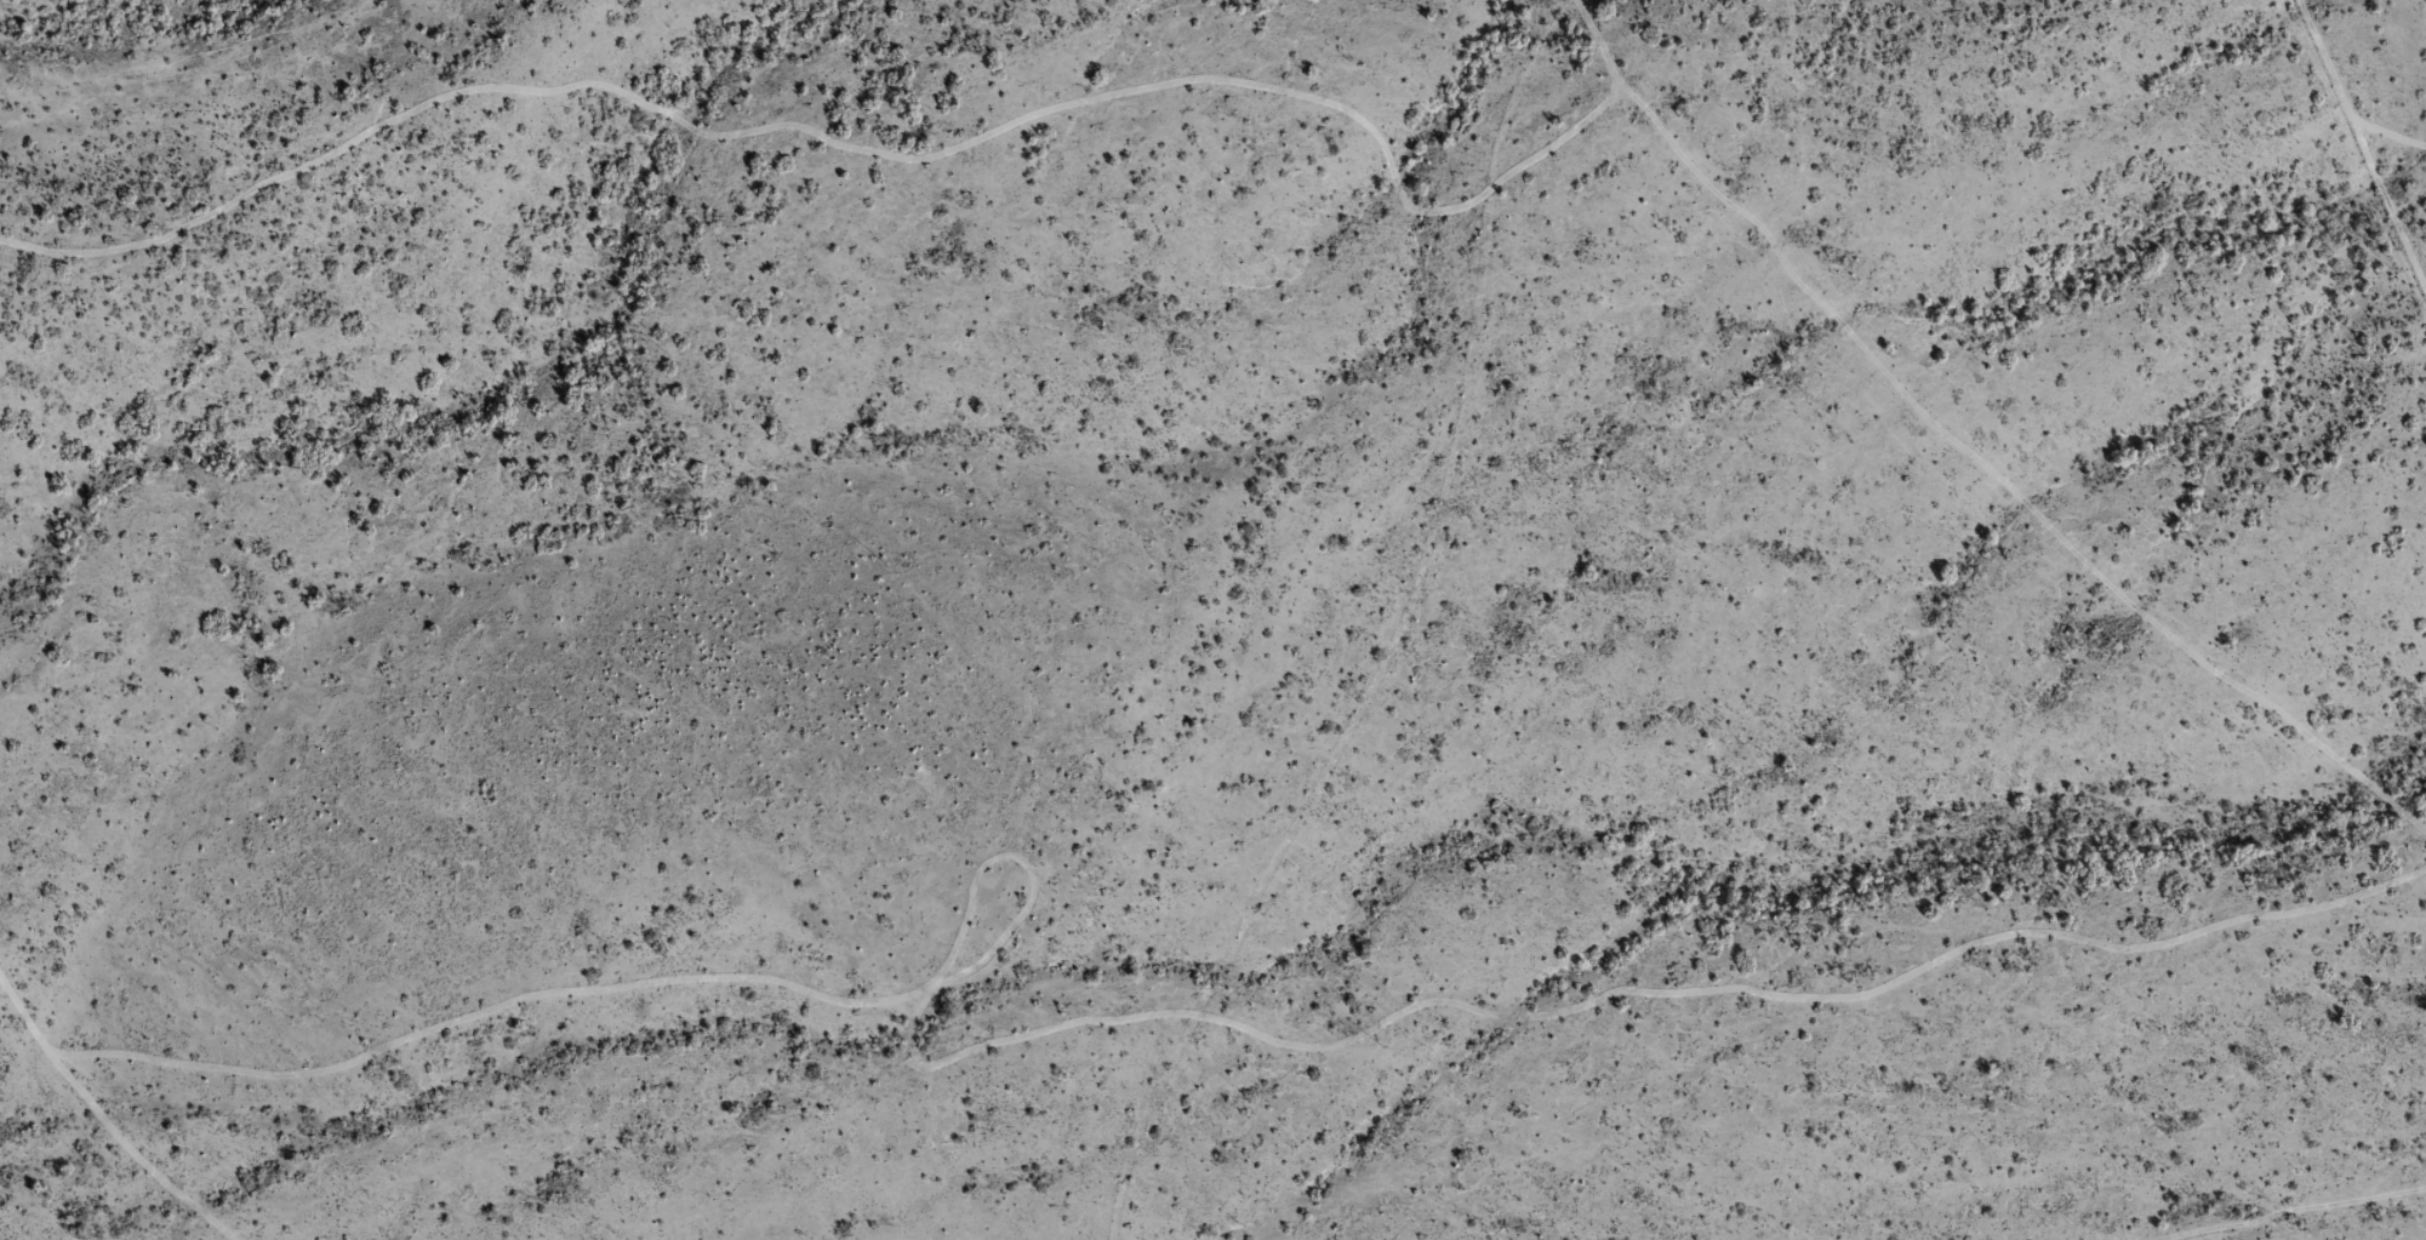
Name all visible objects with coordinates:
road: (104, 1113)
road: (2335, 1223)

